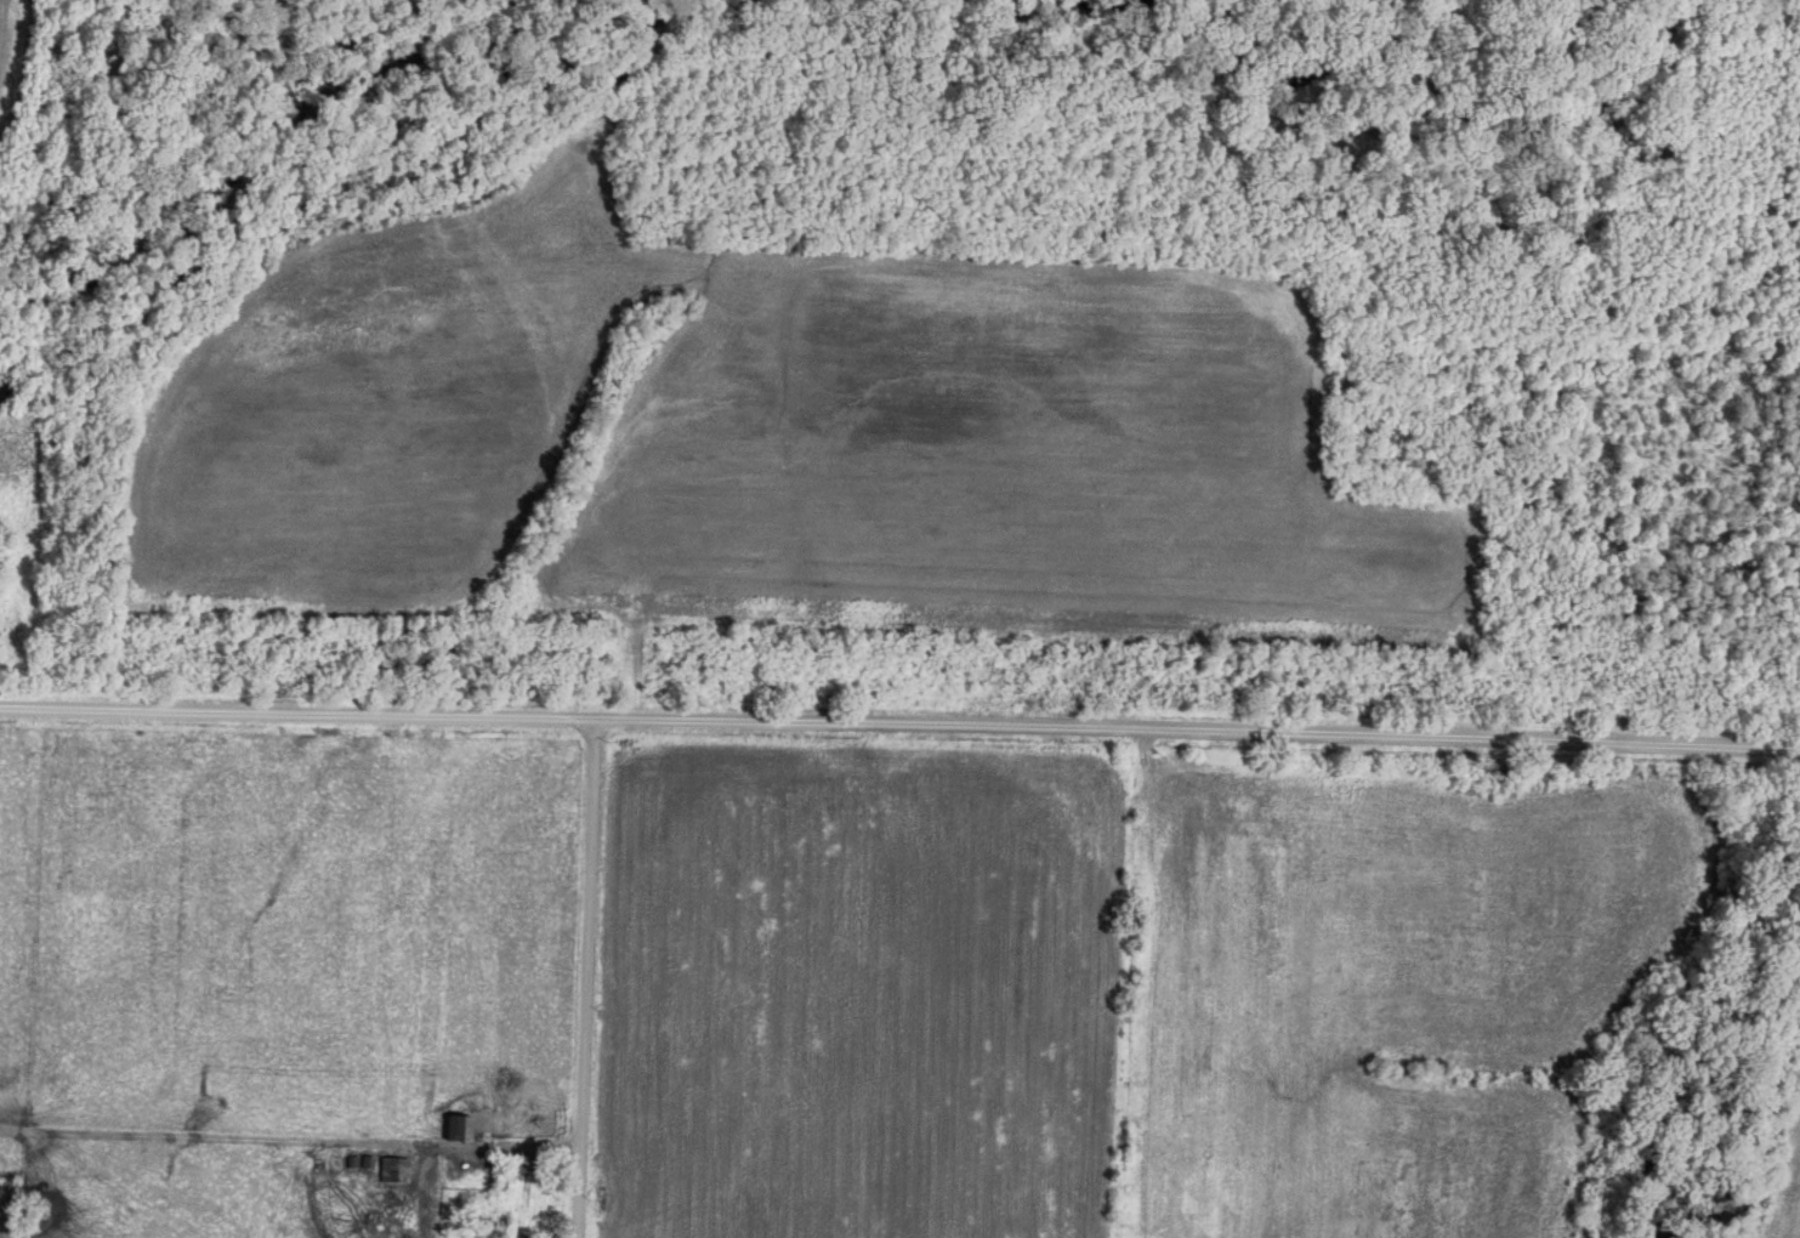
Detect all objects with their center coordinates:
road: (899, 726)
road: (555, 978)
building: (393, 1169)

